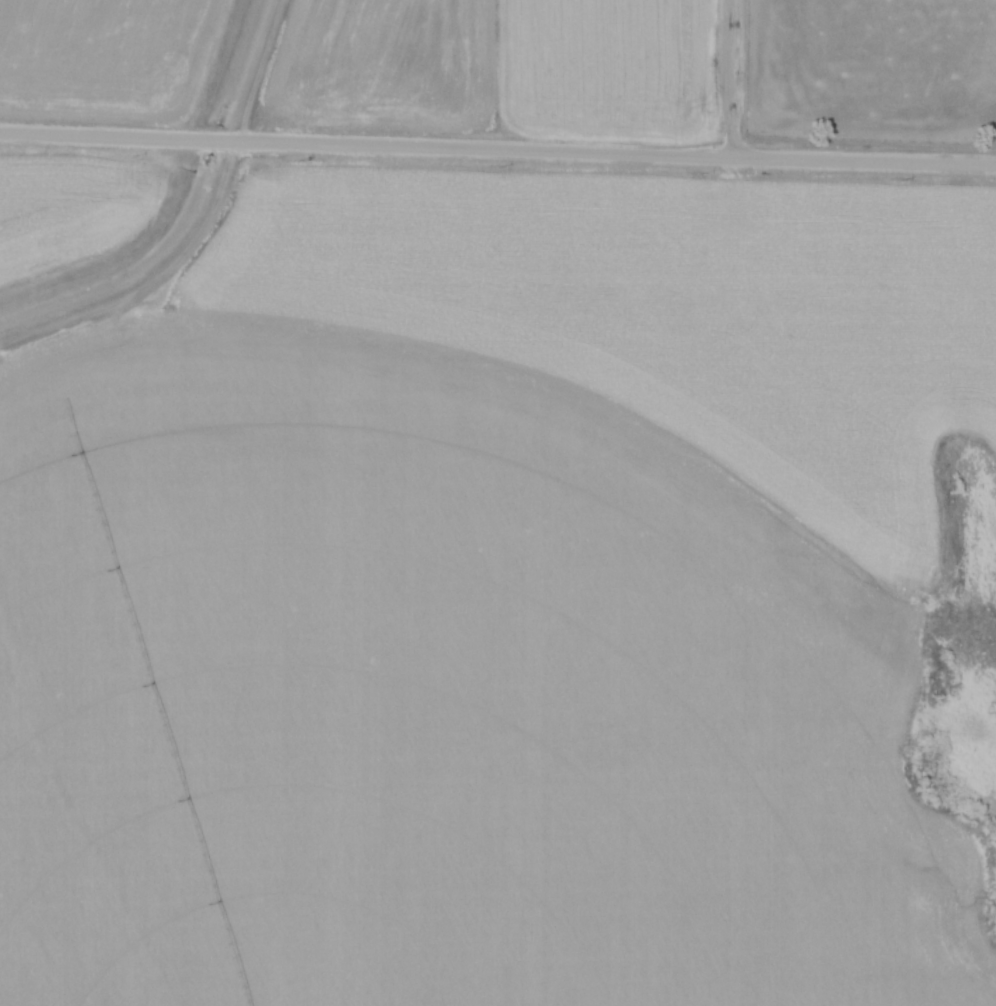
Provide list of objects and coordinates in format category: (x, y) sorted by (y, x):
road: (735, 79)
road: (498, 150)
crop: (437, 706)

